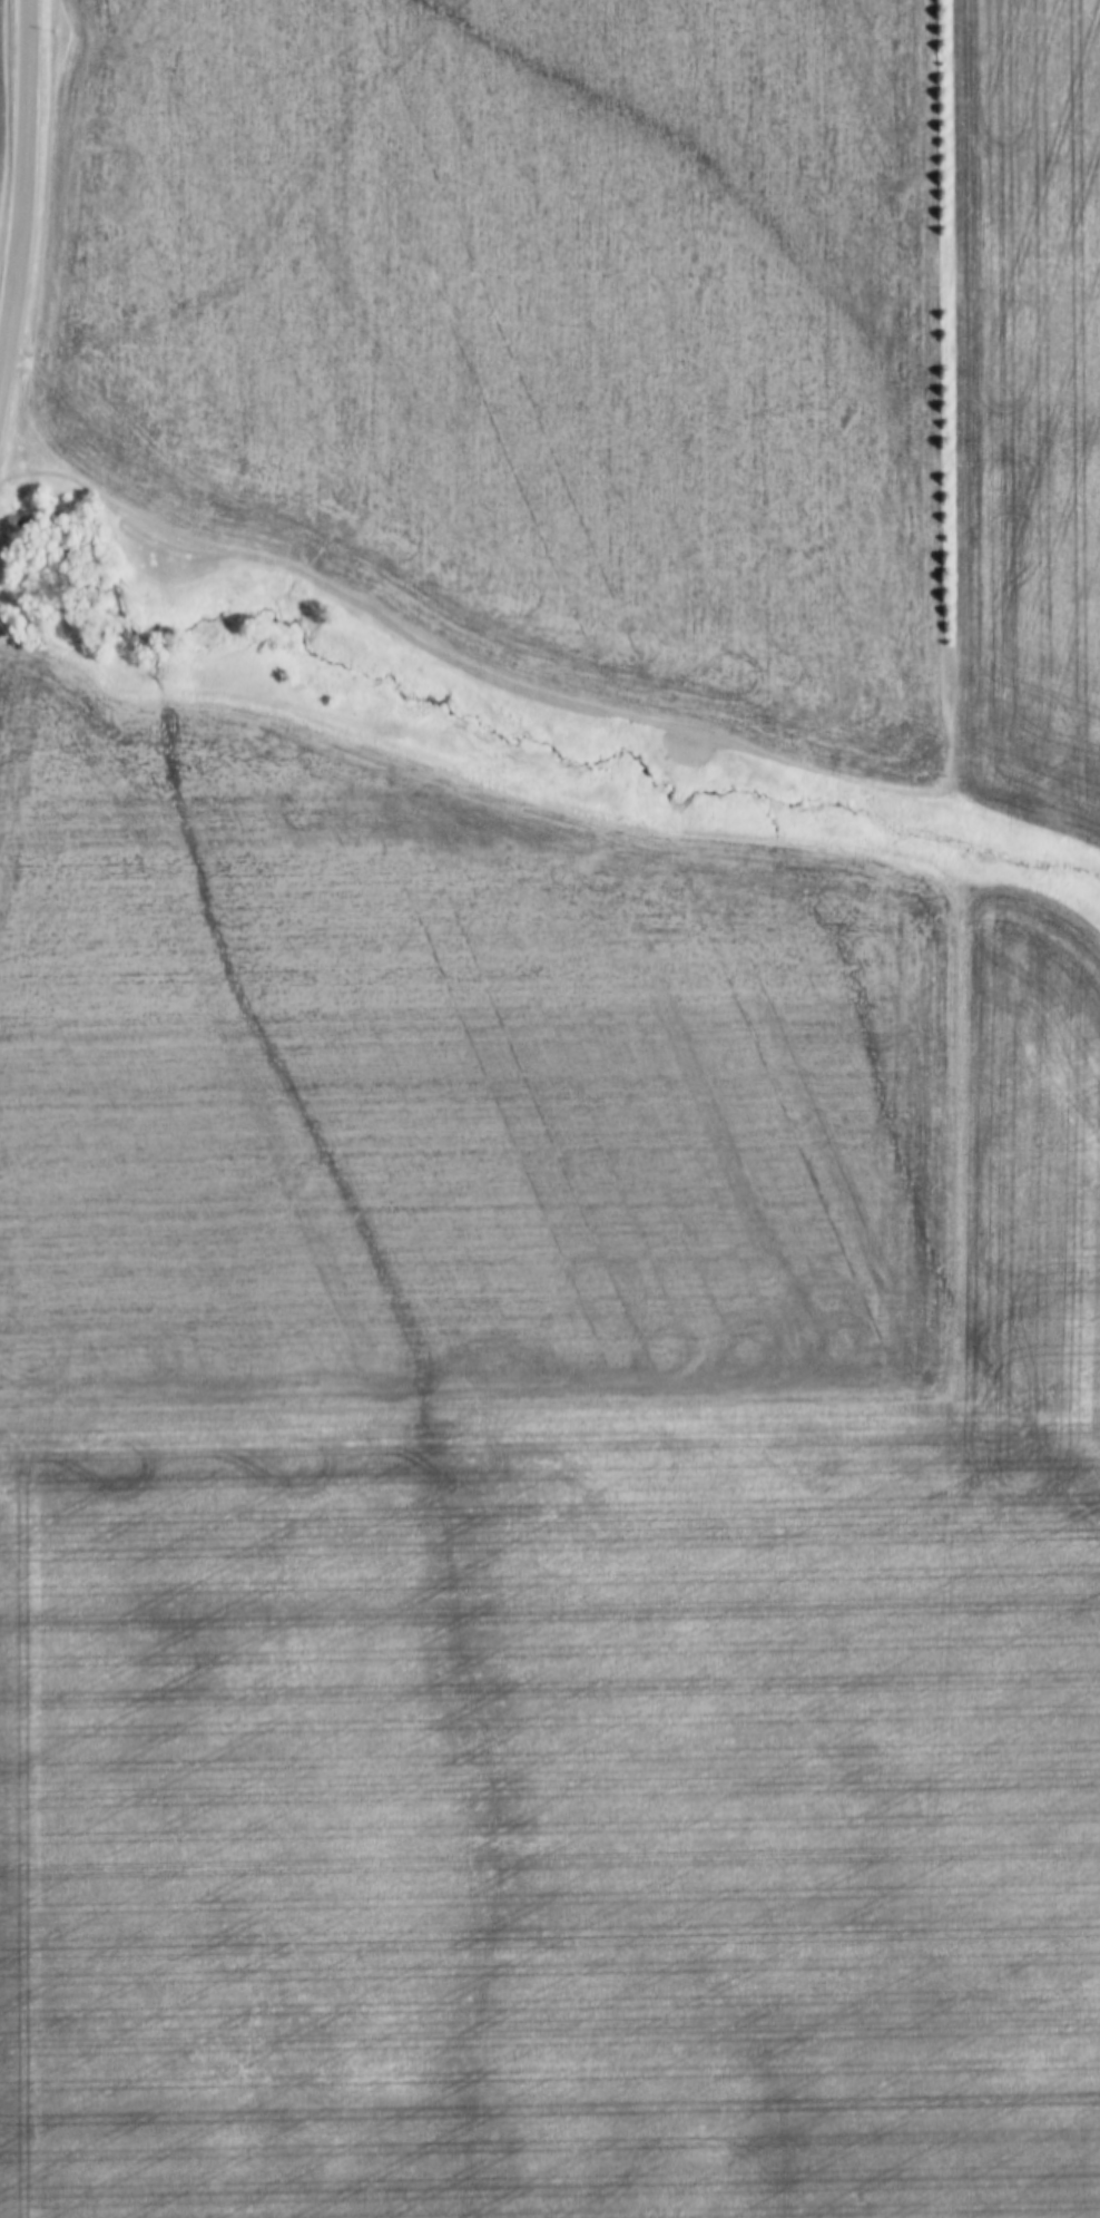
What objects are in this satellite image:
crop: (2, 74)
road: (22, 194)
crop: (533, 334)
crop: (1028, 409)
crop: (448, 1088)
crop: (587, 1763)

